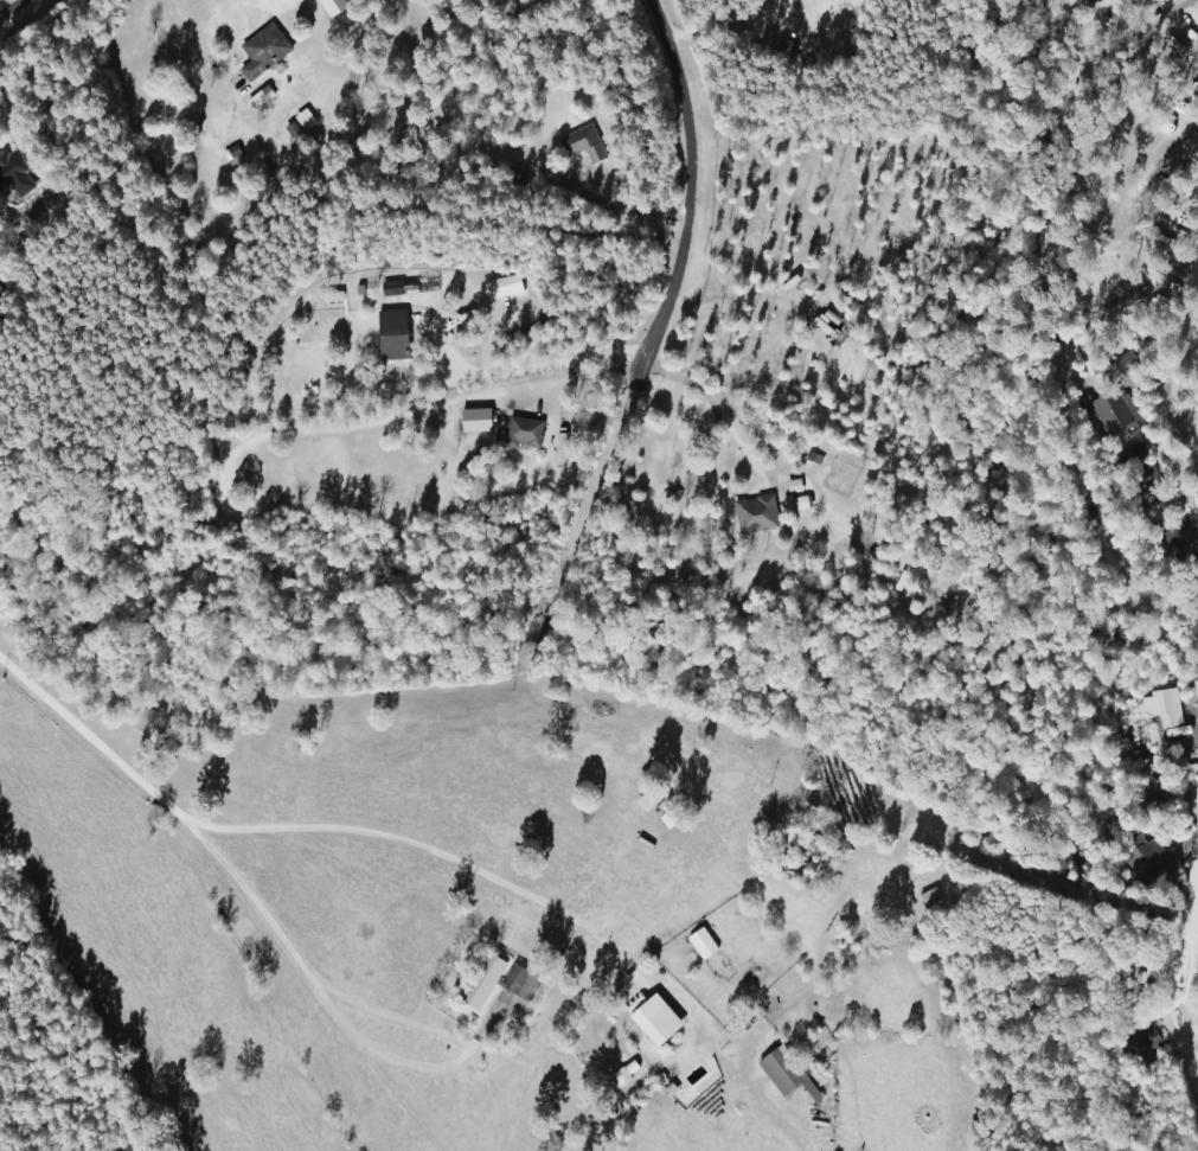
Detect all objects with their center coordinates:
building: (261, 51)
building: (514, 120)
building: (579, 145)
road: (687, 173)
building: (33, 205)
building: (389, 335)
road: (517, 371)
road: (590, 375)
road: (1164, 396)
road: (712, 401)
building: (1110, 411)
building: (518, 435)
road: (1062, 445)
building: (1145, 486)
building: (793, 504)
building: (752, 514)
building: (1177, 544)
building: (1159, 706)
building: (1167, 762)
building: (1149, 795)
building: (795, 843)
building: (1145, 852)
building: (927, 897)
building: (699, 942)
building: (492, 981)
road: (1183, 991)
building: (651, 1018)
building: (1142, 1038)
building: (782, 1073)

